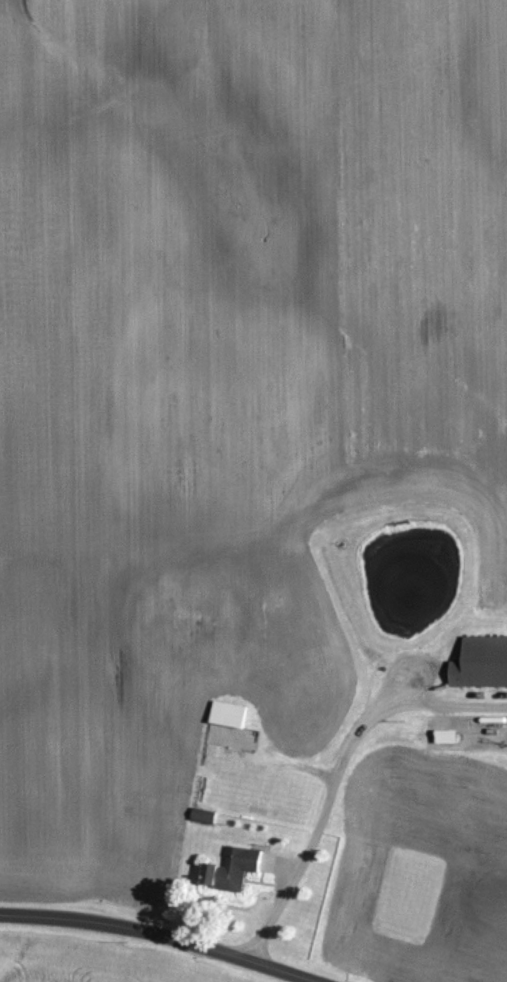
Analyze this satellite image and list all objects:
building: (481, 660)
building: (227, 711)
building: (445, 734)
building: (233, 735)
building: (203, 813)
building: (231, 867)
road: (160, 935)

